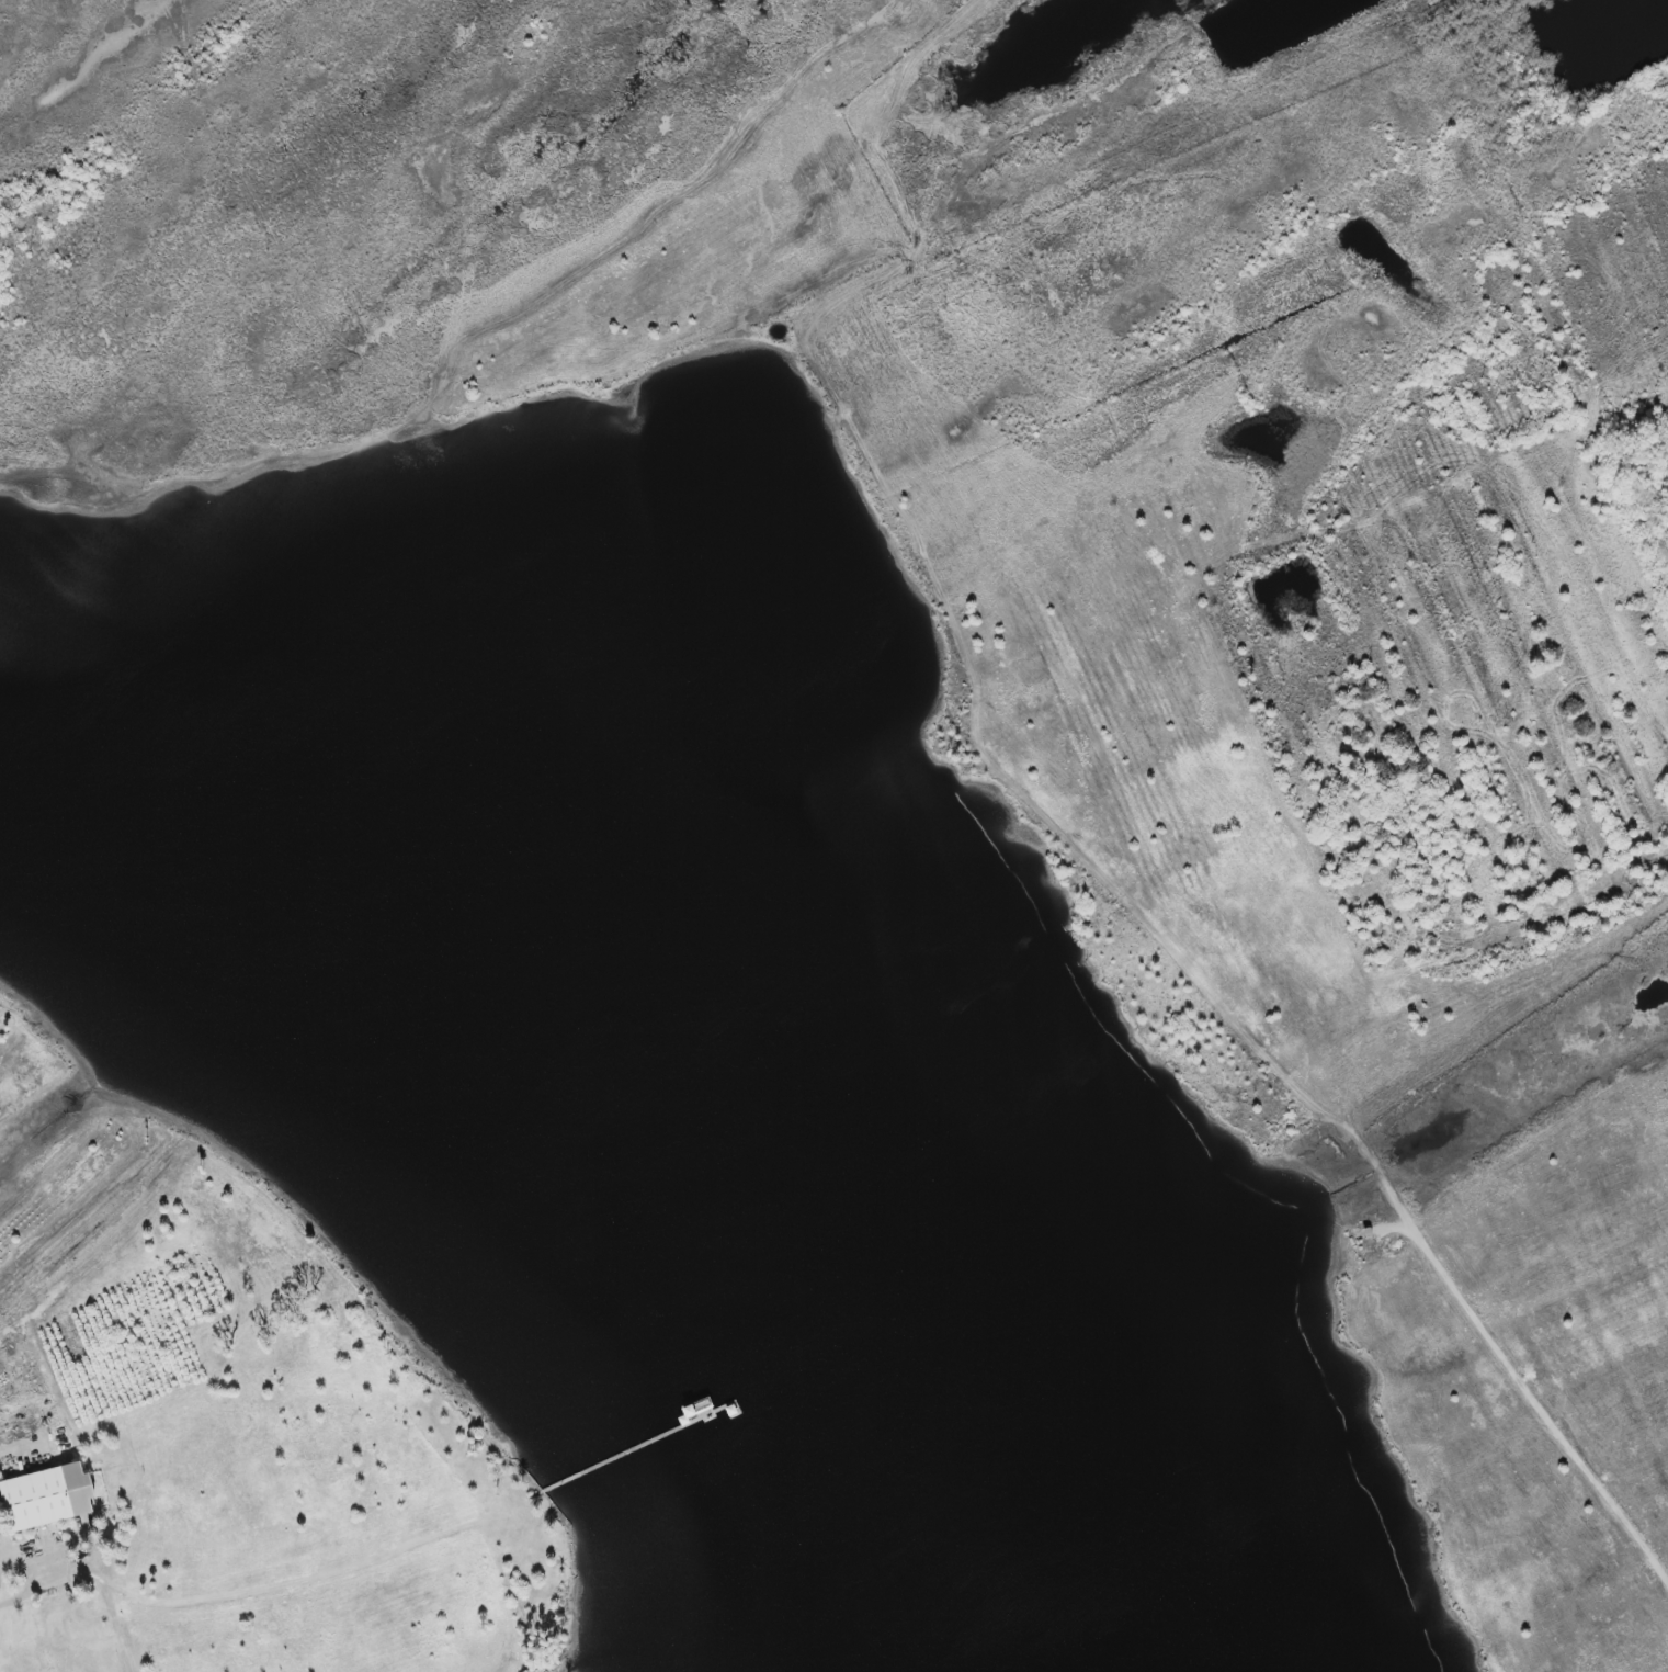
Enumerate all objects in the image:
building: (48, 1496)
road: (46, 1586)

